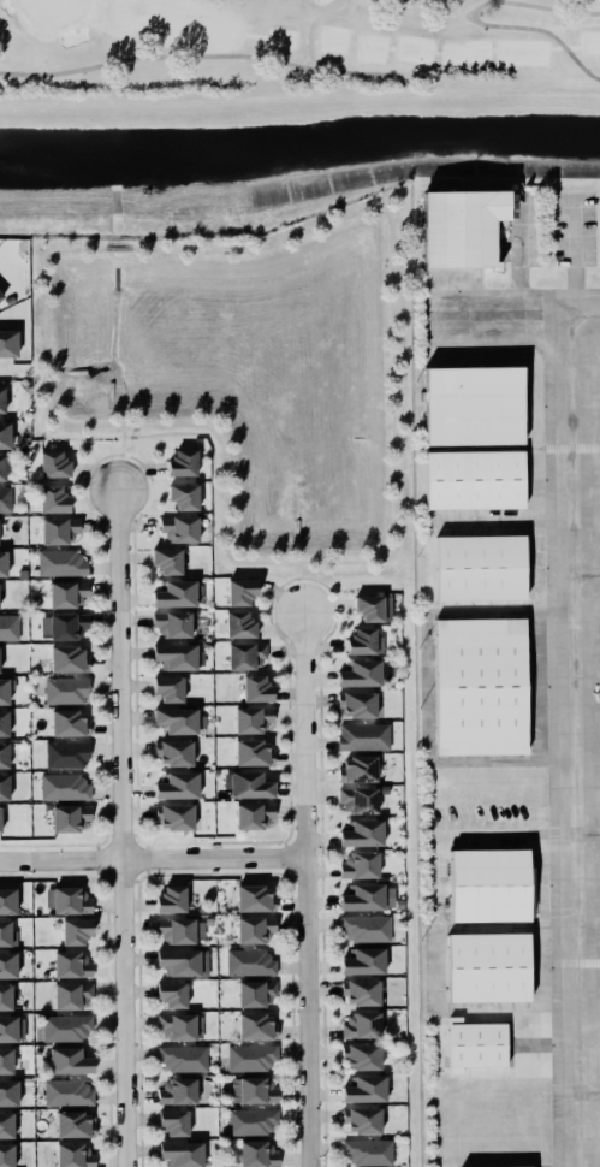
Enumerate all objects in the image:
park: (301, 47)
park: (305, 48)
building: (458, 226)
road: (115, 248)
road: (518, 253)
road: (571, 254)
building: (1, 295)
building: (10, 300)
airport taxiway: (513, 314)
road: (513, 314)
building: (7, 343)
road: (43, 378)
building: (1, 398)
building: (470, 404)
road: (392, 410)
road: (120, 456)
building: (182, 462)
building: (53, 464)
building: (2, 467)
building: (470, 479)
building: (184, 496)
building: (53, 499)
building: (1, 527)
building: (179, 527)
building: (58, 529)
building: (167, 561)
building: (2, 562)
building: (60, 562)
building: (477, 567)
airport taxiway: (587, 573)
road: (587, 573)
building: (240, 591)
building: (66, 593)
building: (177, 593)
building: (369, 608)
building: (172, 623)
building: (239, 624)
building: (63, 626)
building: (8, 627)
building: (363, 641)
building: (176, 656)
building: (245, 656)
building: (69, 658)
airport: (506, 668)
building: (360, 673)
building: (476, 686)
building: (168, 688)
building: (256, 688)
building: (65, 689)
building: (4, 691)
building: (357, 704)
building: (253, 718)
building: (176, 719)
building: (69, 722)
building: (4, 723)
building: (363, 736)
airport taxiway: (575, 740)
road: (575, 740)
building: (174, 752)
building: (253, 752)
building: (4, 754)
building: (66, 754)
building: (358, 769)
building: (248, 784)
building: (64, 786)
building: (177, 786)
building: (4, 787)
building: (357, 800)
building: (253, 814)
building: (174, 816)
building: (69, 817)
building: (0, 823)
road: (120, 828)
airport taxiway: (588, 831)
road: (588, 831)
building: (362, 834)
road: (152, 859)
building: (360, 865)
building: (487, 883)
road: (305, 888)
building: (367, 896)
building: (255, 898)
building: (171, 899)
building: (7, 900)
building: (67, 900)
building: (366, 928)
building: (254, 929)
building: (76, 930)
building: (178, 930)
building: (7, 931)
building: (183, 961)
building: (249, 961)
building: (363, 961)
building: (7, 964)
building: (71, 964)
building: (483, 966)
building: (360, 991)
building: (255, 993)
building: (71, 994)
building: (171, 994)
building: (5, 996)
building: (256, 1025)
building: (361, 1025)
building: (65, 1026)
building: (179, 1026)
building: (7, 1029)
building: (474, 1043)
building: (361, 1055)
building: (250, 1056)
building: (183, 1058)
building: (5, 1060)
building: (69, 1060)
building: (364, 1089)
building: (177, 1090)
building: (253, 1090)
airport taxiway: (589, 1090)
road: (589, 1090)
building: (66, 1091)
building: (8, 1092)
building: (250, 1120)
building: (361, 1120)
building: (173, 1121)
building: (6, 1124)
building: (73, 1124)
building: (368, 1151)
building: (182, 1153)
building: (256, 1154)
building: (6, 1155)
building: (73, 1155)
building: (503, 1166)

